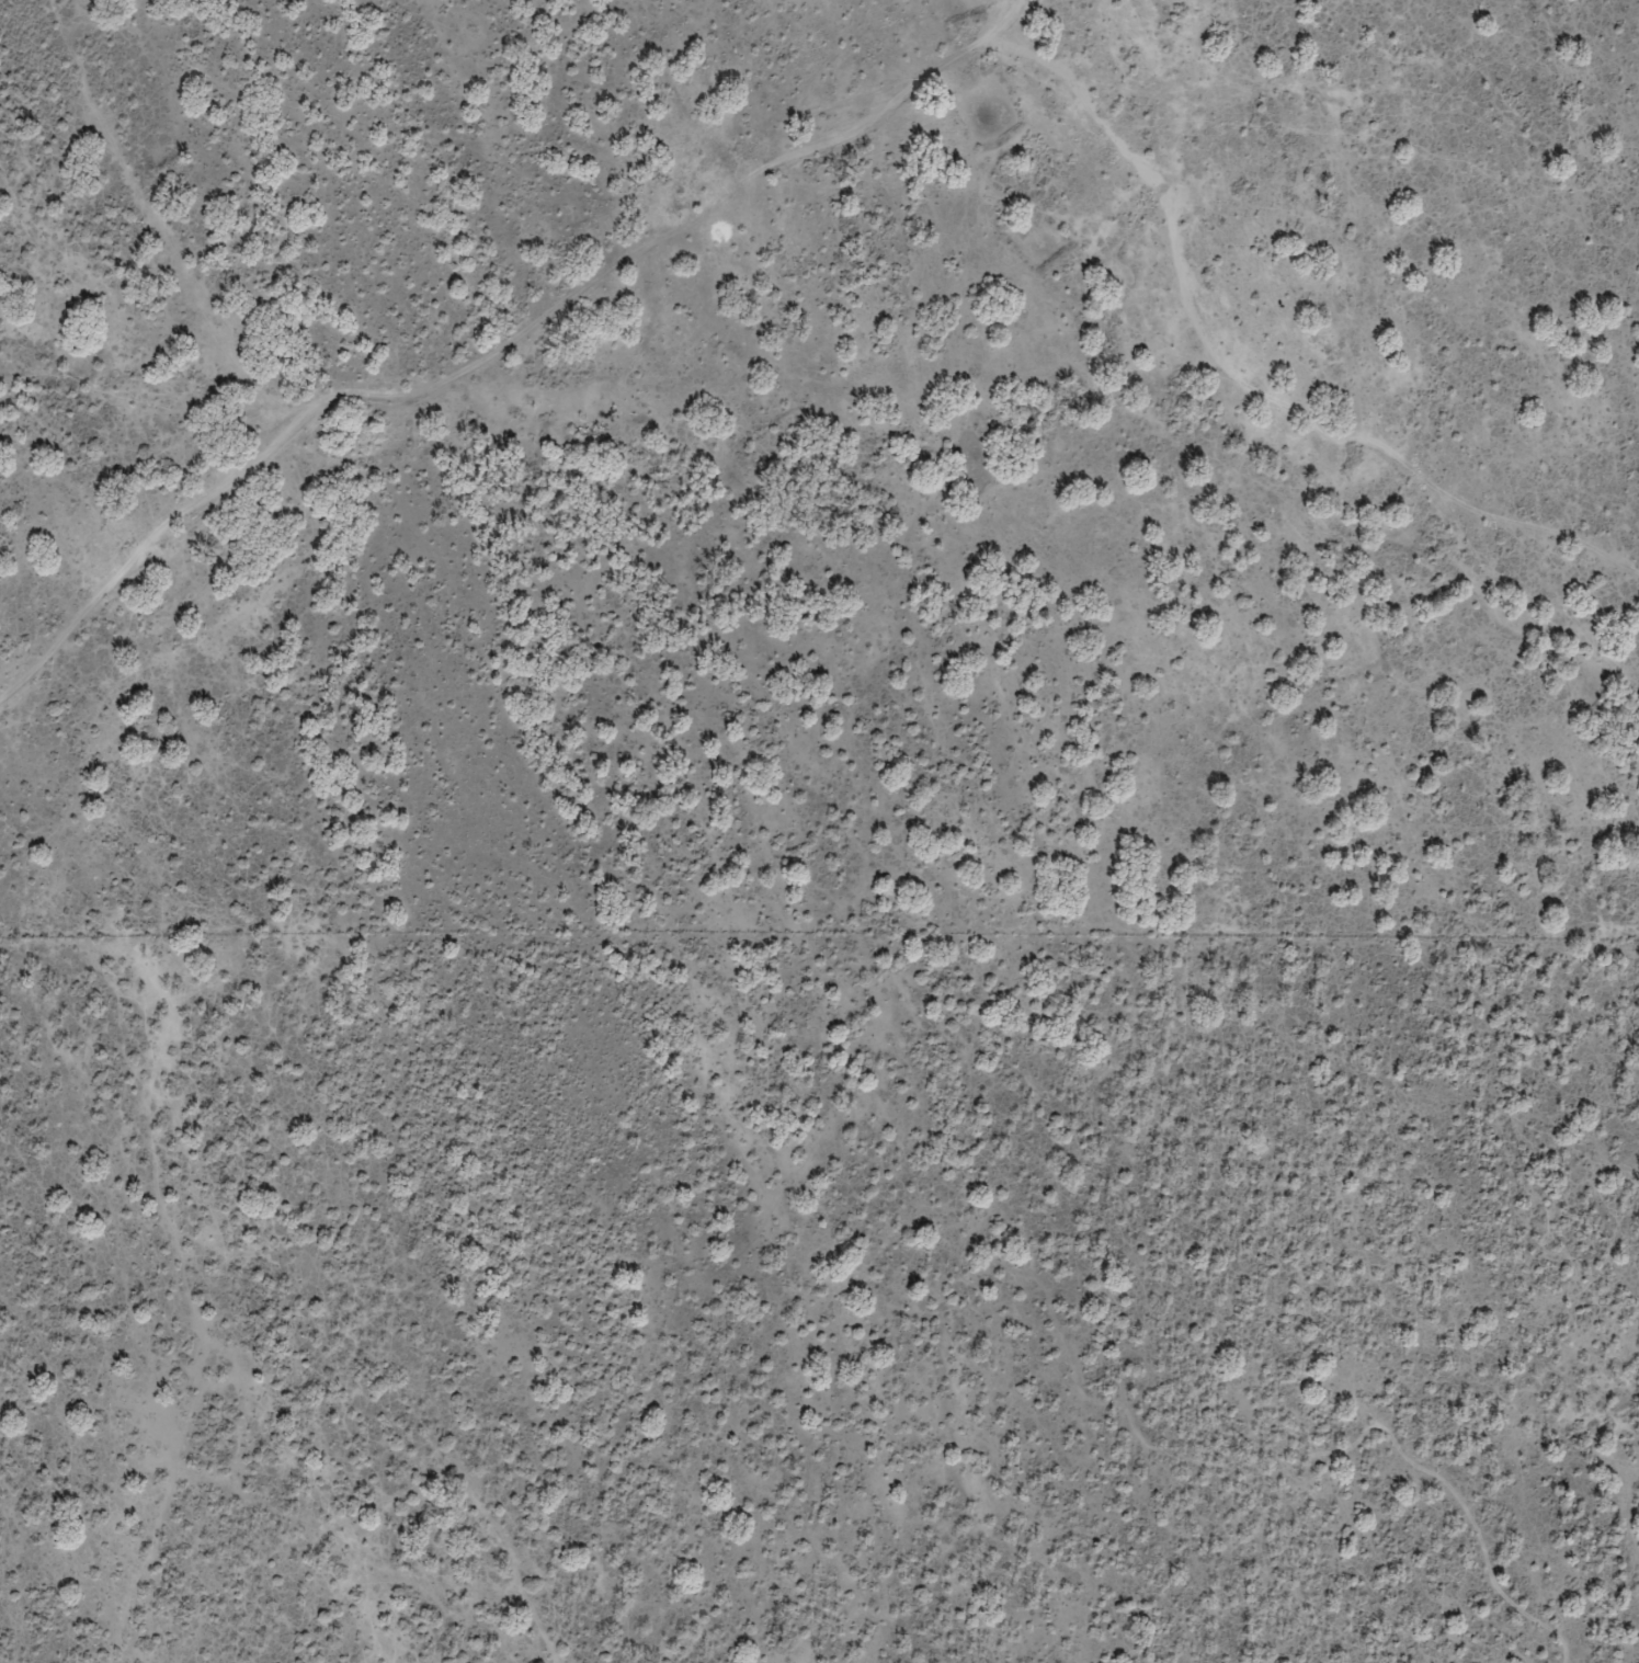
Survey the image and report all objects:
road: (494, 399)

